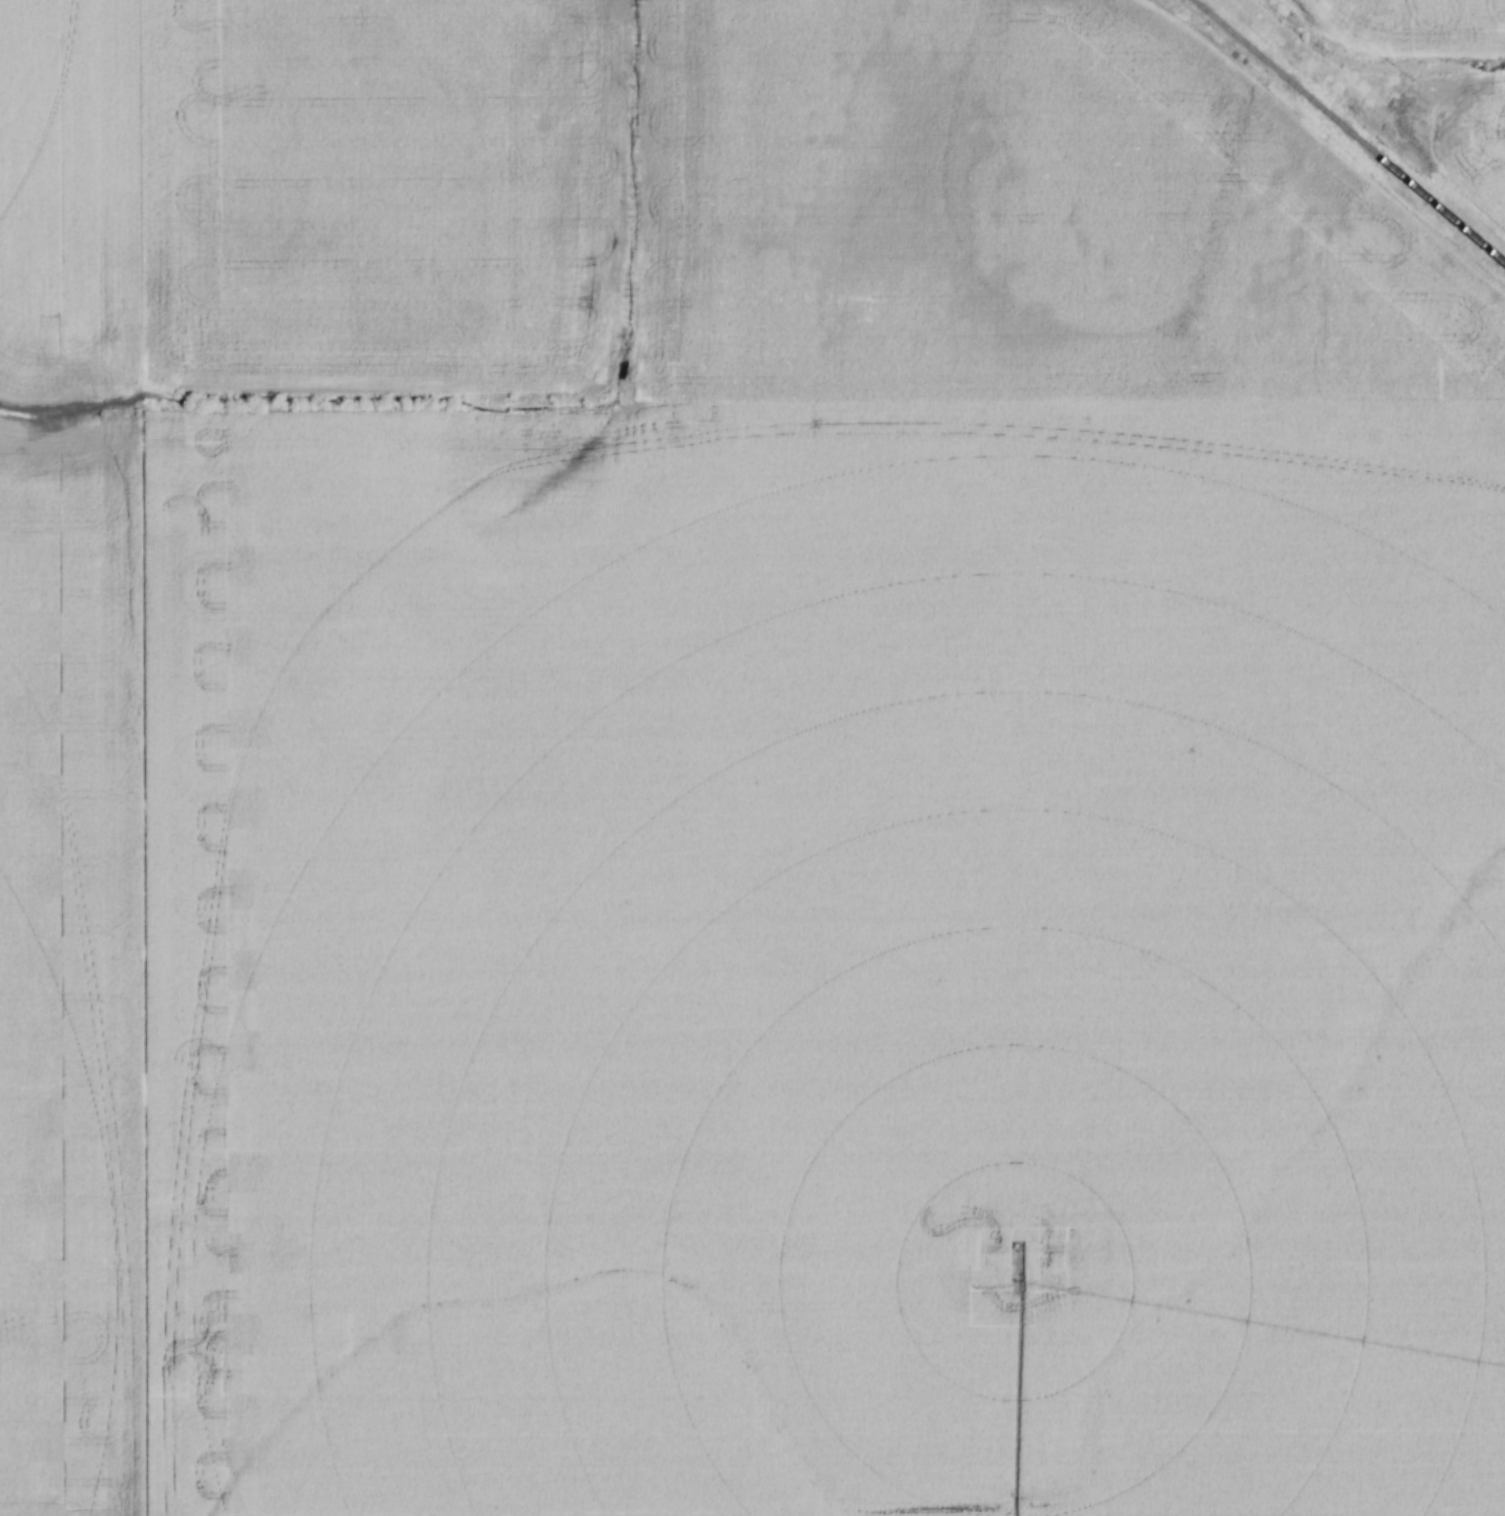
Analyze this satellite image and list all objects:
railway: (1352, 130)

